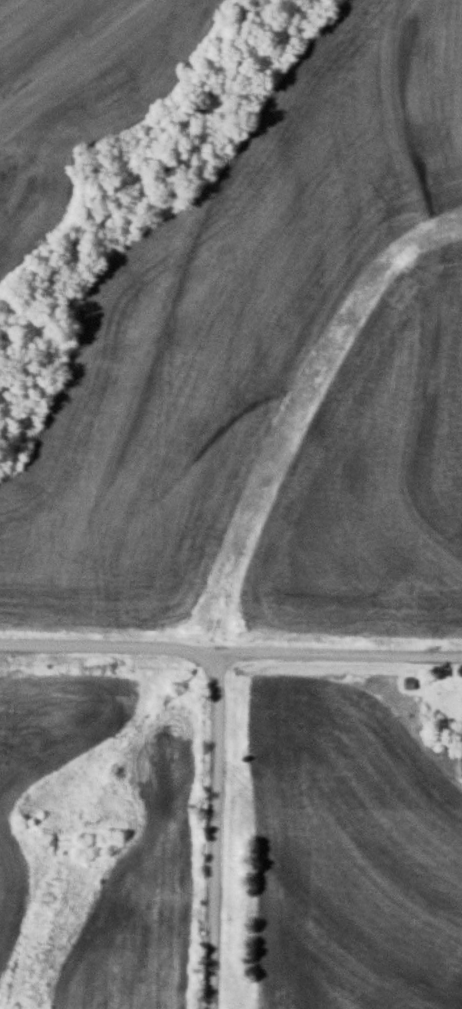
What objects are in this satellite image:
road: (231, 651)
road: (214, 830)

